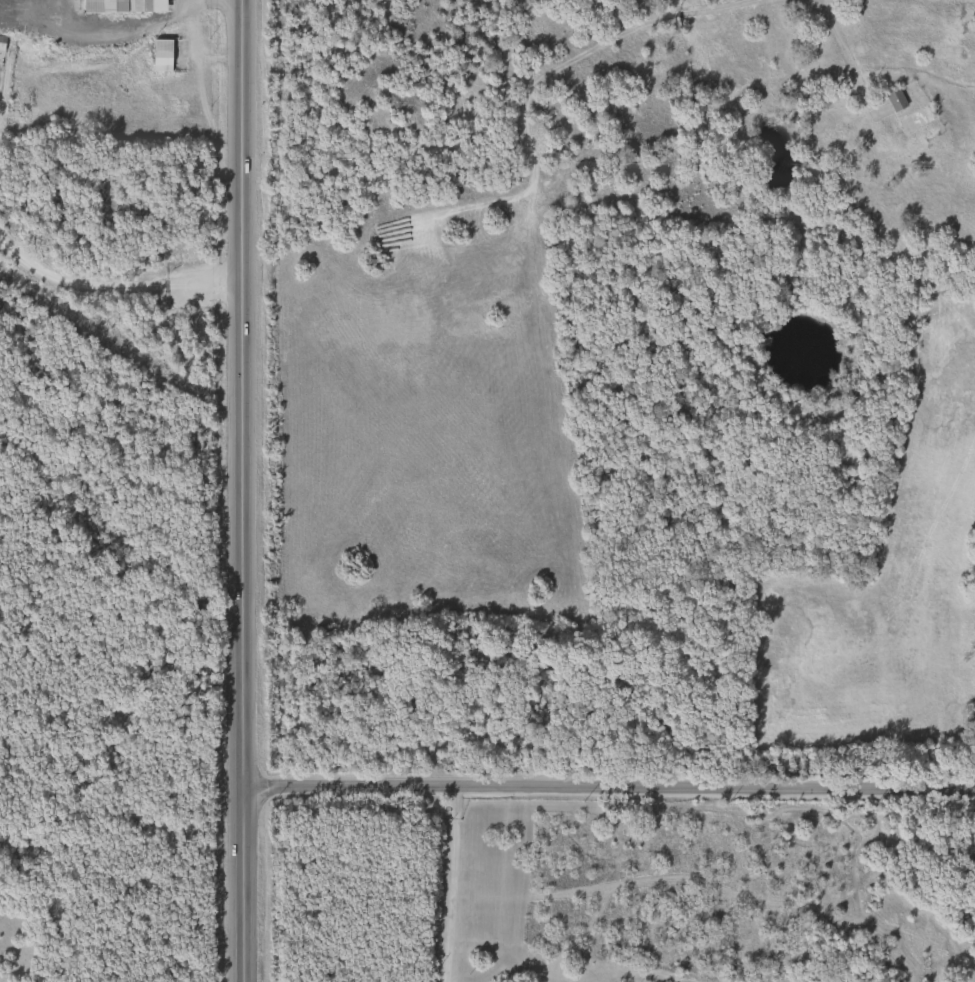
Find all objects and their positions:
building: (121, 6)
road: (713, 7)
road: (118, 40)
building: (0, 43)
building: (649, 48)
road: (842, 55)
building: (158, 56)
building: (892, 100)
building: (912, 119)
road: (114, 282)
road: (241, 491)
road: (606, 787)
road: (451, 883)

